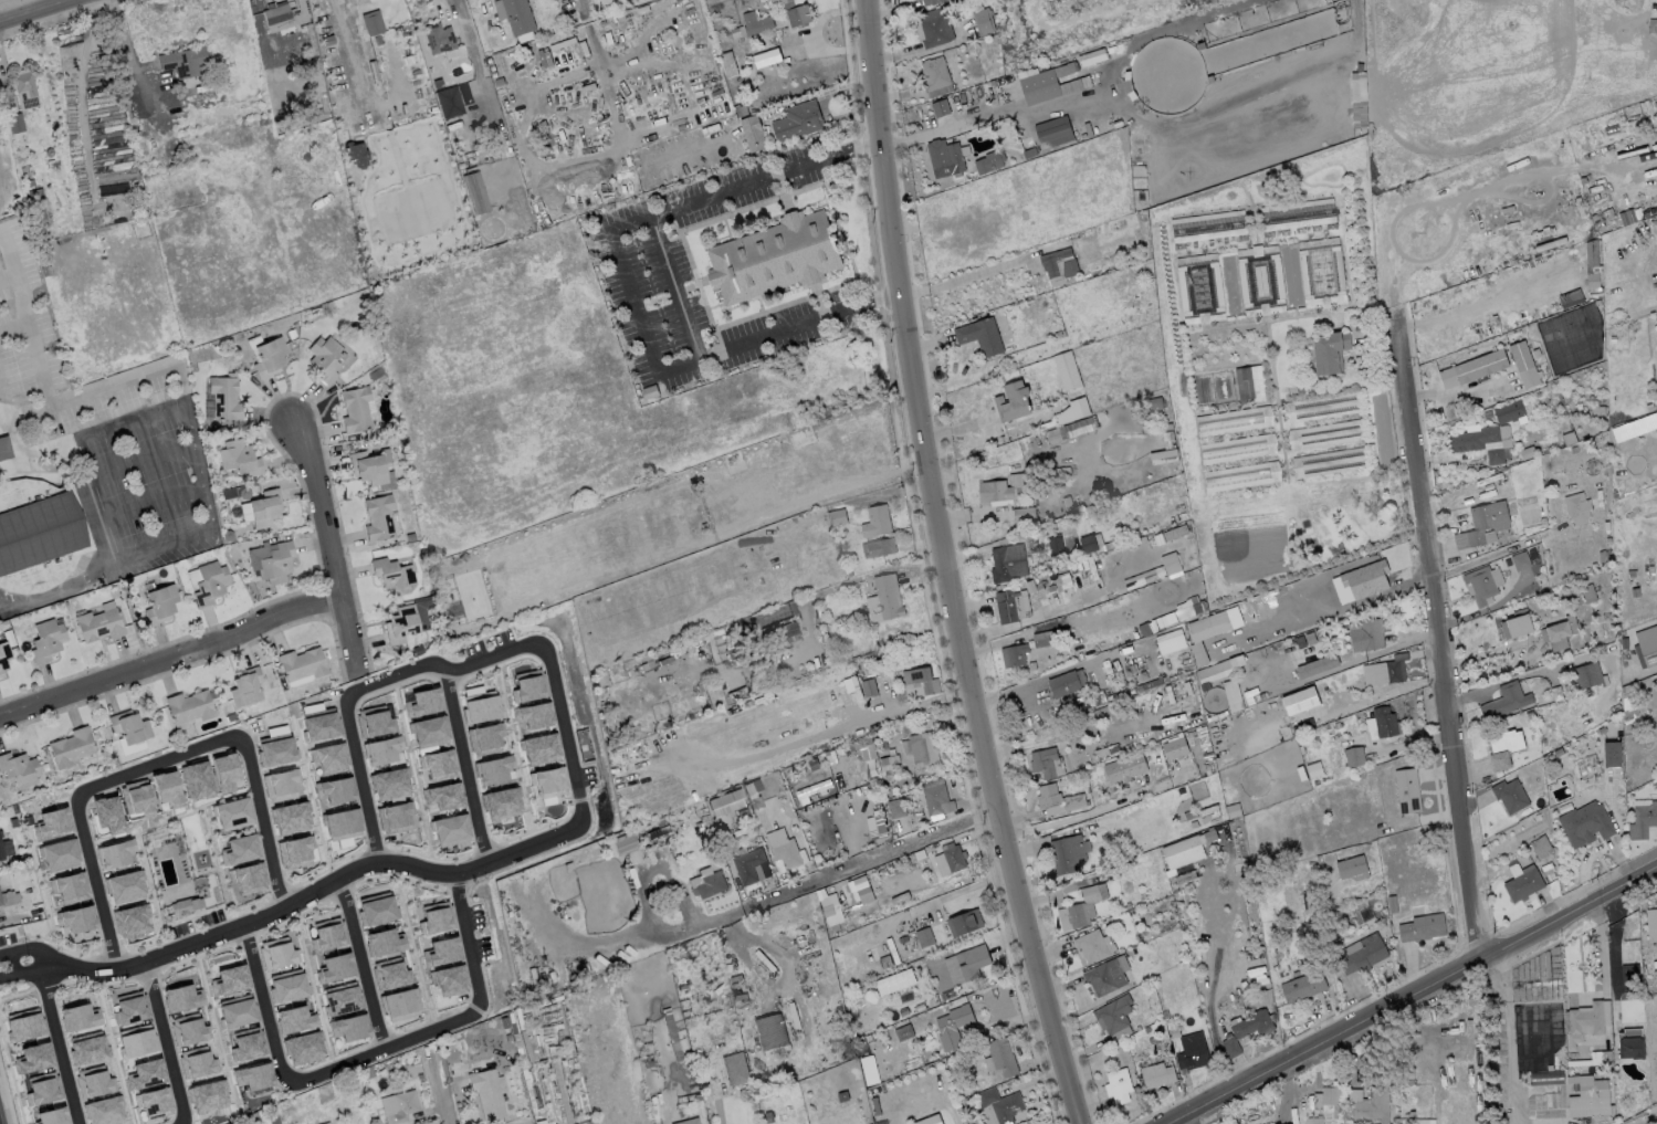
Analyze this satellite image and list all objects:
building: (934, 1)
road: (35, 11)
building: (795, 12)
building: (276, 13)
building: (520, 17)
building: (983, 22)
building: (373, 23)
building: (752, 24)
building: (1653, 25)
building: (933, 28)
building: (526, 38)
building: (439, 39)
building: (328, 41)
building: (378, 41)
road: (347, 45)
building: (525, 52)
building: (766, 56)
building: (1092, 56)
road: (475, 57)
building: (784, 59)
building: (185, 62)
building: (727, 63)
road: (127, 74)
road: (605, 75)
building: (935, 76)
building: (501, 82)
building: (24, 84)
building: (1048, 85)
building: (1359, 95)
building: (539, 96)
building: (1656, 101)
building: (450, 103)
building: (940, 107)
building: (798, 120)
building: (15, 124)
building: (545, 126)
building: (1052, 130)
building: (753, 133)
building: (510, 149)
building: (49, 153)
building: (355, 154)
building: (945, 157)
building: (990, 161)
road: (1636, 167)
building: (471, 170)
building: (333, 178)
building: (30, 183)
building: (151, 187)
building: (474, 192)
building: (35, 196)
building: (149, 199)
building: (526, 203)
building: (1298, 214)
building: (1208, 225)
building: (44, 238)
building: (1591, 252)
building: (774, 256)
building: (1055, 264)
building: (46, 272)
building: (1321, 272)
building: (1260, 280)
building: (1593, 280)
road: (628, 287)
building: (1199, 287)
building: (314, 312)
road: (24, 317)
building: (292, 334)
building: (980, 335)
building: (1326, 351)
building: (270, 358)
building: (326, 358)
building: (1523, 364)
building: (1472, 368)
building: (1067, 369)
crop: (1280, 369)
building: (376, 374)
building: (1250, 384)
building: (649, 391)
road: (1458, 393)
building: (226, 399)
building: (1014, 400)
road: (168, 406)
building: (1321, 406)
building: (1072, 409)
building: (356, 410)
building: (1508, 411)
building: (1234, 420)
building: (1634, 427)
building: (204, 428)
building: (1071, 429)
building: (1325, 434)
building: (1567, 438)
building: (1479, 441)
building: (1238, 448)
building: (4, 449)
road: (28, 452)
building: (1525, 452)
building: (1162, 456)
building: (240, 459)
building: (1329, 461)
road: (139, 463)
building: (371, 470)
building: (1241, 475)
building: (1001, 490)
road: (151, 503)
building: (1577, 507)
building: (265, 510)
building: (1024, 513)
building: (833, 517)
building: (379, 518)
building: (875, 521)
building: (1481, 523)
building: (39, 533)
building: (1090, 543)
building: (1055, 545)
building: (879, 547)
road: (331, 549)
road: (1490, 556)
building: (1520, 560)
building: (1007, 563)
building: (1170, 563)
building: (276, 564)
road: (944, 566)
building: (1152, 574)
building: (394, 576)
building: (1365, 577)
building: (210, 584)
building: (1483, 585)
road: (61, 586)
building: (1587, 592)
building: (884, 598)
building: (161, 605)
building: (1011, 605)
building: (401, 624)
building: (101, 626)
building: (1516, 627)
building: (779, 632)
building: (1368, 633)
building: (1556, 635)
building: (1042, 638)
building: (1310, 638)
building: (48, 641)
road: (1433, 641)
building: (1646, 644)
building: (418, 650)
building: (1198, 653)
road: (169, 655)
building: (1015, 655)
building: (3, 658)
building: (303, 664)
road: (439, 665)
building: (1318, 665)
building: (1220, 668)
building: (1384, 670)
building: (1590, 675)
road: (1513, 676)
building: (919, 680)
building: (1067, 682)
building: (528, 684)
building: (247, 687)
building: (870, 689)
building: (1233, 694)
building: (1506, 700)
building: (1300, 701)
building: (422, 702)
building: (1629, 702)
building: (481, 705)
building: (190, 707)
building: (231, 717)
building: (1384, 721)
building: (374, 722)
building: (319, 725)
building: (130, 727)
building: (429, 731)
road: (562, 733)
building: (484, 738)
building: (1506, 746)
building: (72, 748)
building: (539, 748)
building: (866, 748)
building: (1175, 748)
building: (275, 749)
building: (381, 749)
building: (920, 749)
building: (1613, 755)
building: (1353, 756)
building: (331, 758)
building: (888, 759)
road: (156, 761)
building: (1047, 763)
building: (438, 765)
road: (465, 766)
building: (45, 768)
building: (1125, 768)
building: (20, 769)
building: (494, 769)
building: (1314, 769)
building: (226, 773)
road: (1179, 776)
building: (197, 779)
road: (359, 779)
building: (809, 782)
building: (390, 784)
building: (280, 785)
building: (549, 785)
building: (166, 788)
building: (335, 789)
building: (1407, 790)
building: (768, 791)
building: (812, 791)
building: (1510, 795)
building: (443, 796)
building: (137, 798)
building: (936, 798)
building: (1058, 799)
building: (501, 802)
building: (725, 802)
building: (896, 808)
building: (1233, 810)
building: (1208, 811)
road: (1088, 812)
building: (107, 813)
building: (232, 813)
building: (290, 817)
building: (395, 817)
building: (1643, 818)
road: (261, 820)
building: (53, 821)
building: (340, 822)
building: (1585, 823)
building: (875, 826)
building: (450, 829)
building: (623, 842)
building: (1540, 847)
building: (240, 849)
building: (294, 851)
building: (1183, 851)
building: (1, 852)
building: (1069, 852)
building: (115, 853)
building: (60, 854)
building: (787, 854)
building: (954, 857)
building: (19, 859)
building: (748, 865)
building: (1352, 869)
building: (248, 876)
road: (811, 880)
road: (93, 882)
building: (1522, 882)
building: (705, 883)
building: (861, 885)
building: (125, 886)
building: (71, 887)
road: (312, 889)
building: (1, 901)
building: (185, 905)
building: (1081, 907)
building: (376, 908)
building: (829, 914)
building: (1356, 914)
building: (436, 916)
building: (76, 918)
building: (130, 920)
building: (964, 922)
building: (1420, 926)
building: (327, 933)
road: (465, 936)
building: (924, 937)
building: (384, 942)
building: (1094, 946)
road: (25, 948)
building: (275, 952)
building: (441, 952)
building: (1361, 953)
road: (361, 962)
building: (966, 963)
building: (334, 967)
road: (23, 969)
building: (390, 973)
building: (1629, 973)
building: (533, 976)
building: (1108, 976)
building: (231, 979)
building: (449, 980)
building: (893, 981)
building: (287, 985)
building: (1303, 986)
road: (1409, 996)
building: (182, 997)
building: (340, 998)
road: (262, 1002)
building: (399, 1004)
building: (130, 1007)
building: (237, 1010)
building: (80, 1017)
building: (1114, 1017)
building: (294, 1019)
building: (1586, 1021)
building: (504, 1023)
building: (23, 1025)
building: (952, 1025)
building: (348, 1027)
building: (543, 1028)
building: (1245, 1028)
building: (188, 1029)
building: (770, 1031)
building: (903, 1031)
road: (1509, 1037)
building: (508, 1038)
road: (165, 1039)
building: (136, 1040)
building: (248, 1042)
building: (1630, 1042)
road: (56, 1043)
road: (386, 1047)
building: (1532, 1047)
building: (87, 1048)
building: (303, 1048)
building: (1192, 1051)
building: (534, 1052)
building: (1600, 1057)
building: (999, 1059)
building: (196, 1062)
building: (647, 1063)
building: (734, 1067)
building: (379, 1068)
building: (363, 1073)
building: (1157, 1073)
building: (145, 1074)
building: (253, 1076)
building: (1545, 1078)
building: (93, 1081)
building: (1118, 1085)
building: (43, 1086)
road: (437, 1090)
building: (704, 1090)
building: (487, 1094)
building: (1587, 1095)
building: (208, 1096)
road: (668, 1096)
building: (155, 1102)
building: (1323, 1102)
building: (1000, 1103)
building: (1368, 1105)
building: (405, 1106)
building: (273, 1115)
building: (52, 1116)
road: (181, 1120)
building: (929, 1120)
building: (688, 1121)
road: (1650, 1121)
building: (325, 1123)

